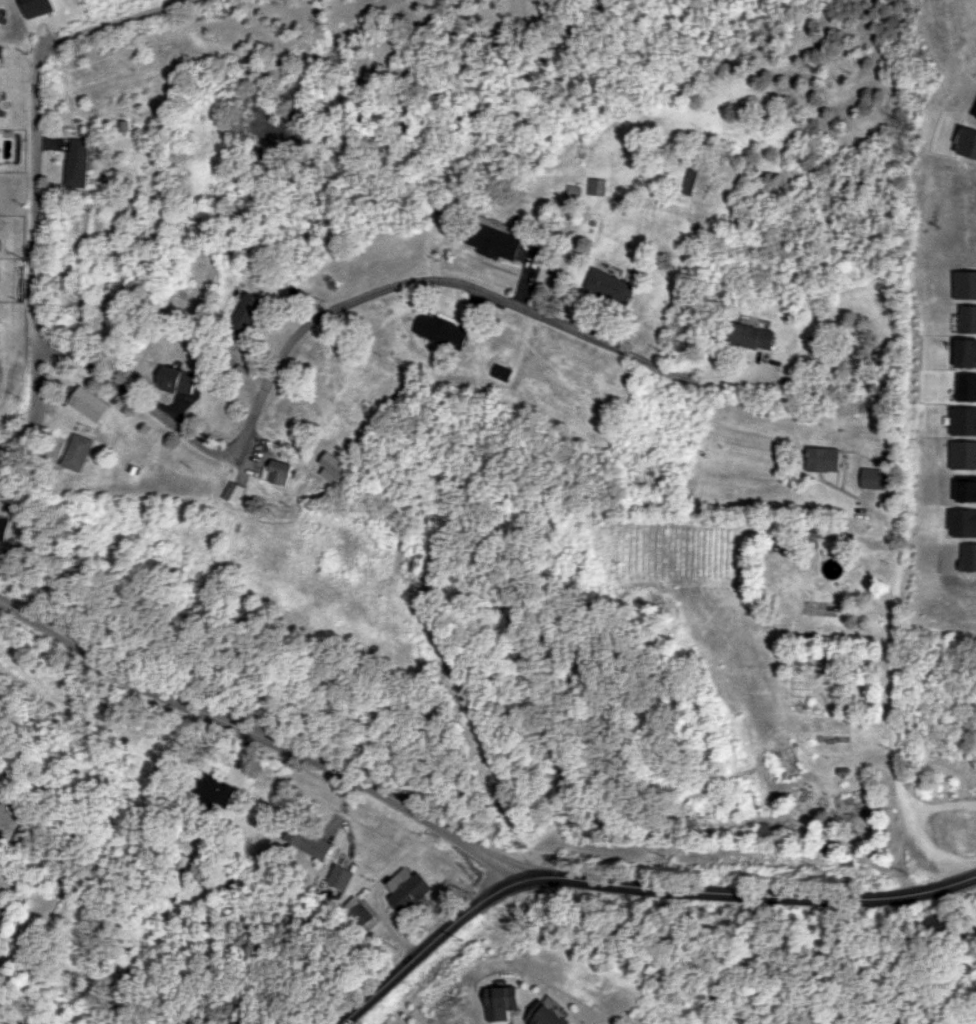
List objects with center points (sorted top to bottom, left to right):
road: (113, 23)
building: (1, 51)
building: (967, 142)
building: (78, 162)
building: (696, 182)
building: (595, 186)
building: (494, 241)
road: (37, 262)
building: (963, 284)
building: (610, 285)
road: (358, 298)
building: (247, 313)
building: (966, 319)
building: (442, 330)
building: (751, 336)
building: (964, 352)
building: (501, 372)
building: (176, 379)
building: (965, 387)
building: (90, 403)
building: (962, 420)
building: (79, 452)
building: (961, 454)
building: (822, 459)
building: (333, 468)
building: (280, 472)
building: (874, 478)
building: (965, 488)
building: (234, 491)
building: (961, 522)
building: (6, 527)
building: (828, 537)
building: (967, 557)
road: (894, 725)
road: (263, 736)
building: (220, 790)
road: (941, 804)
building: (759, 829)
building: (310, 840)
building: (340, 876)
road: (634, 885)
building: (408, 889)
building: (505, 1001)
building: (550, 1015)

